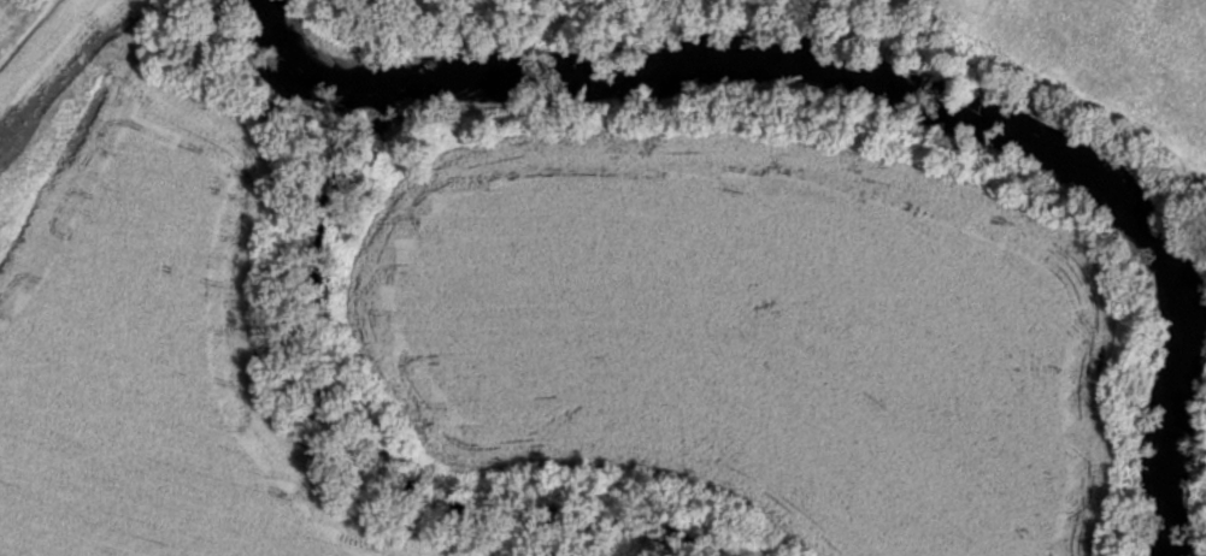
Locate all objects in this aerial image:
river: (876, 85)

